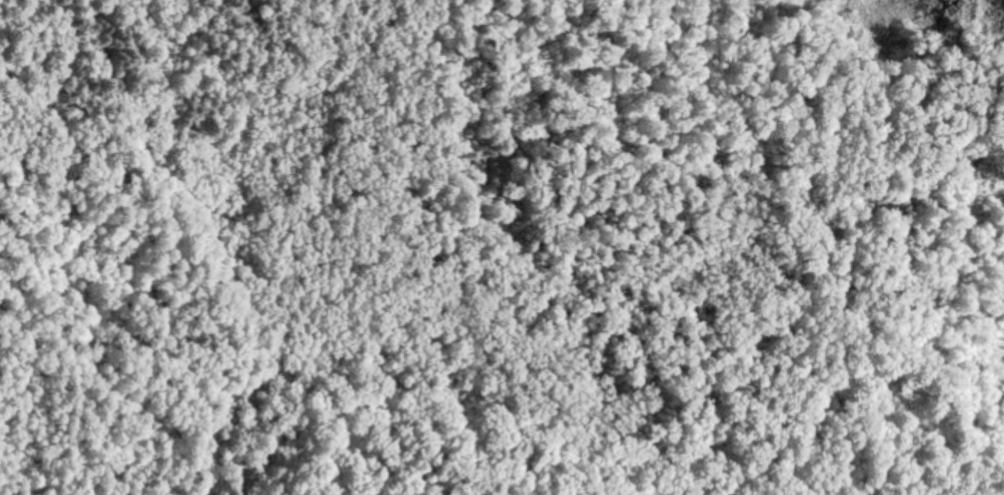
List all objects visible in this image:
road: (892, 226)
road: (923, 445)
road: (843, 476)

